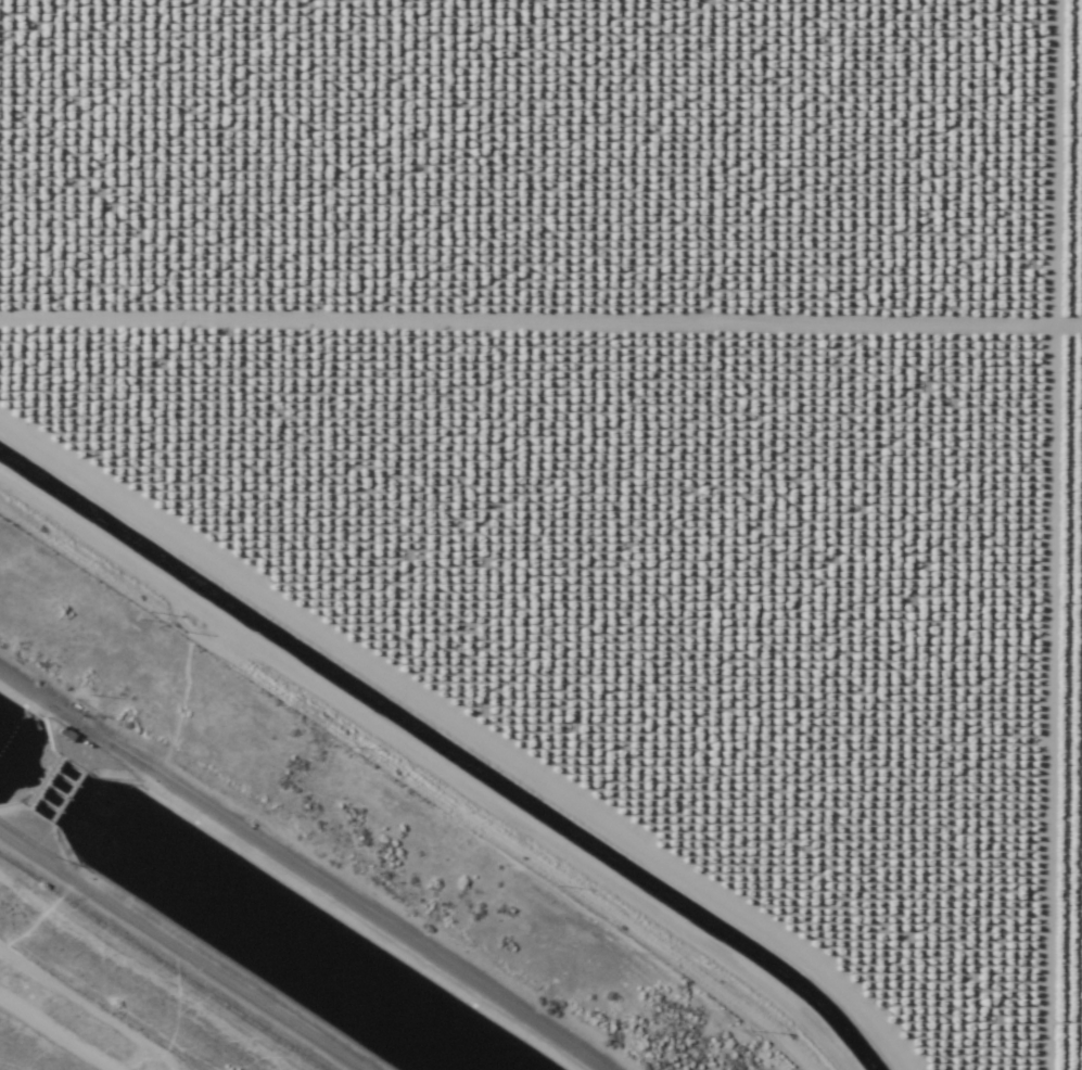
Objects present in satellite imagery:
road: (179, 952)

